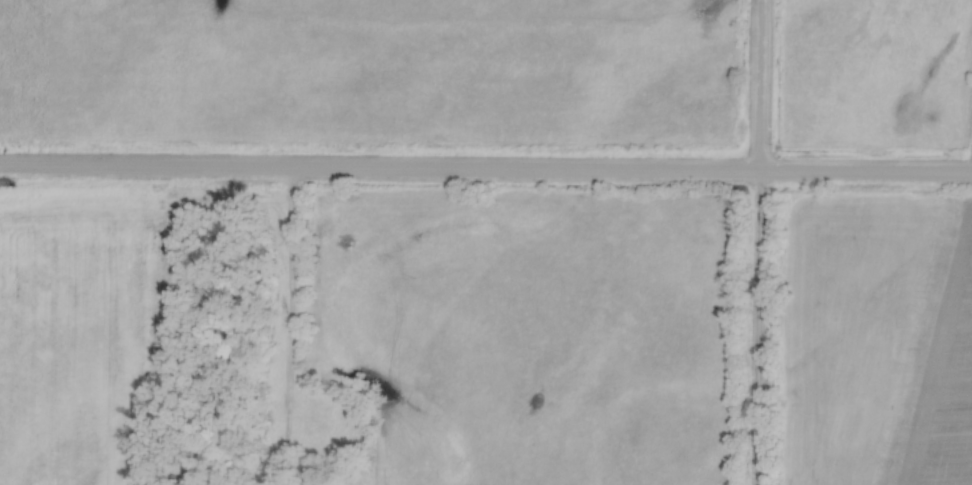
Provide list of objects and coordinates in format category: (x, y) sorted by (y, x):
road: (758, 88)
road: (486, 176)
road: (272, 328)
road: (758, 331)

